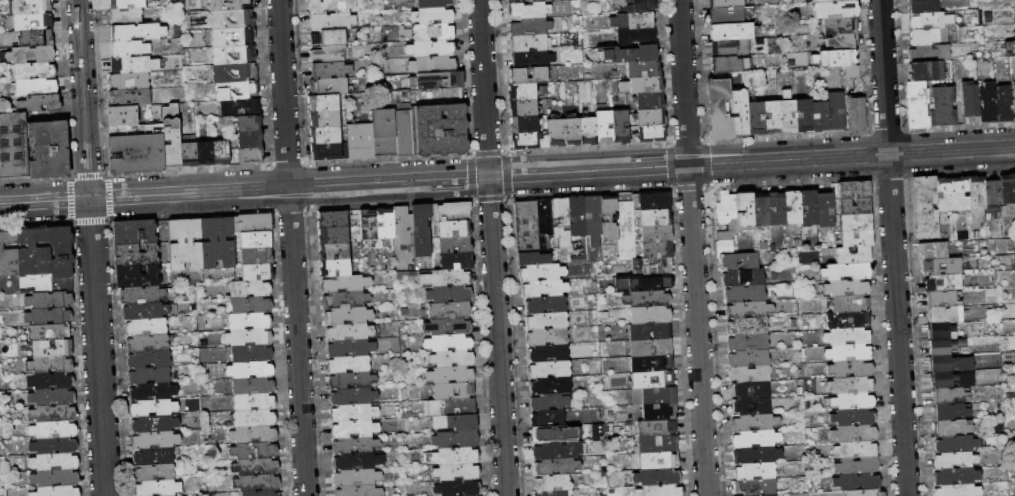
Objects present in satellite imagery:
building: (515, 1)
building: (540, 1)
building: (824, 1)
building: (126, 3)
building: (431, 3)
building: (725, 3)
building: (228, 4)
building: (329, 5)
building: (29, 6)
building: (636, 6)
building: (922, 6)
building: (528, 10)
building: (834, 10)
building: (125, 15)
building: (431, 15)
building: (726, 15)
building: (231, 18)
building: (331, 20)
building: (929, 20)
building: (31, 21)
building: (632, 21)
building: (839, 26)
building: (529, 27)
building: (136, 31)
building: (432, 31)
building: (731, 31)
building: (232, 36)
building: (327, 36)
building: (922, 36)
building: (635, 37)
building: (34, 38)
building: (841, 42)
building: (530, 43)
building: (1013, 47)
building: (128, 48)
building: (430, 48)
building: (730, 48)
building: (328, 52)
building: (929, 53)
building: (29, 54)
building: (233, 54)
building: (627, 54)
building: (833, 58)
building: (533, 59)
building: (133, 64)
building: (431, 64)
building: (729, 64)
building: (330, 69)
building: (33, 70)
building: (642, 70)
building: (920, 71)
building: (233, 72)
building: (852, 72)
building: (517, 73)
road: (884, 76)
building: (129, 80)
building: (436, 80)
road: (683, 82)
building: (338, 85)
building: (34, 86)
building: (641, 86)
road: (483, 88)
building: (235, 90)
building: (521, 92)
road: (284, 93)
building: (129, 97)
road: (84, 99)
building: (969, 100)
building: (38, 102)
building: (322, 102)
building: (649, 102)
building: (1013, 102)
building: (986, 103)
building: (917, 104)
building: (1002, 104)
building: (239, 107)
building: (941, 107)
building: (522, 109)
building: (718, 110)
building: (835, 111)
building: (854, 112)
building: (738, 113)
building: (786, 113)
building: (42, 115)
building: (121, 115)
building: (802, 115)
building: (323, 117)
building: (650, 117)
building: (770, 117)
building: (819, 117)
building: (754, 118)
building: (248, 123)
road: (960, 124)
railway: (87, 125)
building: (523, 125)
building: (619, 127)
building: (438, 128)
building: (603, 128)
building: (403, 129)
road: (887, 129)
building: (587, 131)
building: (383, 132)
building: (571, 132)
building: (555, 133)
building: (324, 134)
building: (648, 134)
road: (789, 134)
building: (170, 136)
building: (249, 139)
road: (689, 139)
building: (359, 140)
building: (524, 141)
building: (543, 142)
building: (13, 145)
park: (13, 145)
road: (590, 145)
building: (47, 149)
building: (329, 150)
road: (490, 150)
road: (951, 150)
building: (136, 152)
building: (220, 152)
road: (906, 152)
building: (188, 153)
building: (204, 153)
road: (598, 154)
road: (870, 154)
building: (250, 155)
railway: (642, 156)
road: (391, 157)
road: (656, 157)
road: (788, 159)
road: (983, 160)
railway: (513, 162)
road: (291, 163)
road: (711, 163)
road: (512, 165)
road: (671, 165)
road: (188, 169)
road: (588, 170)
railway: (507, 171)
road: (512, 174)
road: (961, 174)
road: (88, 175)
road: (34, 177)
road: (471, 177)
railway: (507, 178)
road: (890, 178)
road: (388, 181)
road: (792, 183)
railway: (442, 185)
road: (313, 186)
railway: (432, 186)
road: (457, 187)
railway: (75, 188)
road: (271, 188)
road: (691, 188)
building: (855, 189)
building: (1007, 189)
road: (188, 193)
building: (976, 193)
road: (593, 194)
building: (960, 194)
road: (314, 195)
building: (944, 195)
building: (992, 195)
road: (109, 197)
road: (382, 197)
road: (70, 199)
road: (5, 200)
road: (493, 200)
building: (655, 200)
road: (49, 201)
road: (5, 203)
road: (4, 205)
road: (393, 206)
building: (855, 207)
building: (792, 208)
building: (809, 208)
building: (925, 208)
road: (490, 209)
building: (726, 209)
building: (776, 209)
building: (825, 209)
road: (293, 210)
building: (760, 210)
building: (450, 212)
building: (744, 212)
road: (191, 216)
building: (577, 216)
building: (546, 217)
building: (609, 218)
building: (655, 218)
building: (333, 219)
road: (90, 221)
building: (561, 221)
building: (856, 222)
building: (252, 223)
road: (35, 224)
building: (385, 224)
building: (402, 224)
building: (368, 225)
building: (626, 225)
building: (527, 226)
building: (593, 227)
building: (454, 229)
building: (421, 230)
building: (162, 232)
building: (134, 233)
building: (656, 234)
building: (334, 236)
building: (855, 239)
building: (255, 240)
building: (725, 242)
building: (216, 243)
building: (184, 245)
building: (455, 245)
building: (656, 250)
building: (933, 251)
building: (335, 252)
building: (850, 254)
building: (136, 255)
building: (256, 256)
building: (533, 259)
building: (31, 260)
building: (1013, 260)
building: (455, 261)
building: (740, 261)
building: (7, 262)
building: (652, 266)
building: (942, 266)
building: (336, 268)
building: (846, 271)
building: (257, 272)
building: (542, 273)
building: (137, 276)
building: (446, 278)
building: (743, 278)
building: (642, 283)
building: (943, 283)
building: (346, 284)
building: (848, 288)
building: (250, 289)
building: (545, 289)
building: (745, 294)
building: (141, 295)
building: (449, 295)
building: (944, 299)
building: (50, 300)
building: (345, 300)
building: (647, 300)
building: (851, 304)
building: (545, 305)
building: (251, 306)
building: (449, 310)
building: (749, 310)
building: (145, 312)
building: (651, 315)
building: (943, 315)
building: (348, 316)
building: (49, 317)
building: (848, 320)
building: (546, 321)
building: (251, 322)
road: (897, 324)
building: (748, 326)
building: (146, 327)
building: (448, 327)
road: (697, 330)
building: (651, 331)
building: (938, 331)
building: (49, 332)
building: (350, 332)
building: (847, 337)
building: (248, 338)
building: (547, 338)
road: (297, 341)
building: (749, 342)
building: (147, 343)
building: (449, 344)
building: (943, 346)
road: (97, 347)
building: (52, 348)
building: (651, 348)
building: (351, 349)
building: (849, 353)
building: (252, 354)
building: (548, 354)
building: (749, 359)
building: (148, 360)
building: (453, 360)
building: (652, 364)
building: (950, 364)
building: (50, 365)
building: (349, 365)
road: (499, 369)
building: (851, 369)
building: (250, 370)
building: (549, 370)
building: (451, 375)
building: (750, 375)
building: (149, 376)
building: (652, 380)
building: (951, 380)
building: (51, 381)
building: (352, 381)
building: (851, 385)
building: (254, 386)
building: (550, 386)
building: (751, 390)
building: (454, 391)
building: (152, 392)
building: (655, 396)
building: (950, 396)
building: (353, 397)
building: (52, 398)
building: (853, 401)
building: (549, 402)
building: (254, 403)
building: (752, 406)
building: (452, 407)
building: (153, 408)
building: (659, 412)
building: (951, 412)
building: (354, 413)
building: (53, 414)
building: (853, 417)
building: (255, 419)
building: (548, 419)
building: (462, 422)
building: (755, 423)
building: (154, 425)
building: (656, 428)
building: (951, 428)
building: (354, 429)
building: (54, 430)
building: (854, 433)
building: (554, 434)
building: (254, 435)
building: (756, 439)
building: (455, 440)
building: (155, 441)
building: (956, 444)
building: (657, 445)
building: (54, 446)
building: (355, 446)
building: (856, 450)
building: (255, 451)
building: (558, 451)
building: (757, 455)
building: (155, 456)
building: (456, 456)
building: (955, 460)
building: (659, 461)
building: (55, 462)
building: (358, 462)
building: (858, 466)
building: (256, 467)
building: (557, 467)
building: (457, 472)
building: (756, 472)
building: (155, 473)
building: (657, 477)
building: (956, 477)
building: (55, 478)
building: (357, 478)
building: (857, 482)
building: (257, 484)
building: (552, 484)
building: (755, 487)
building: (158, 488)
building: (458, 488)
building: (57, 491)
building: (360, 491)
building: (660, 491)
building: (958, 491)
building: (866, 493)
building: (261, 494)
building: (554, 494)
building: (769, 495)

